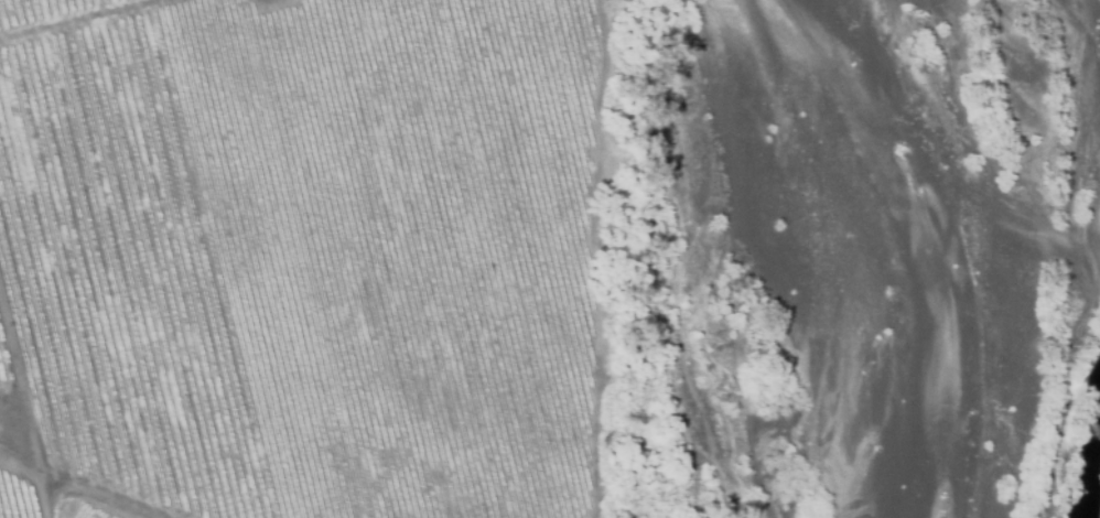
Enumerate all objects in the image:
road: (72, 18)
road: (592, 259)
river: (1058, 430)
road: (18, 442)
road: (86, 496)

